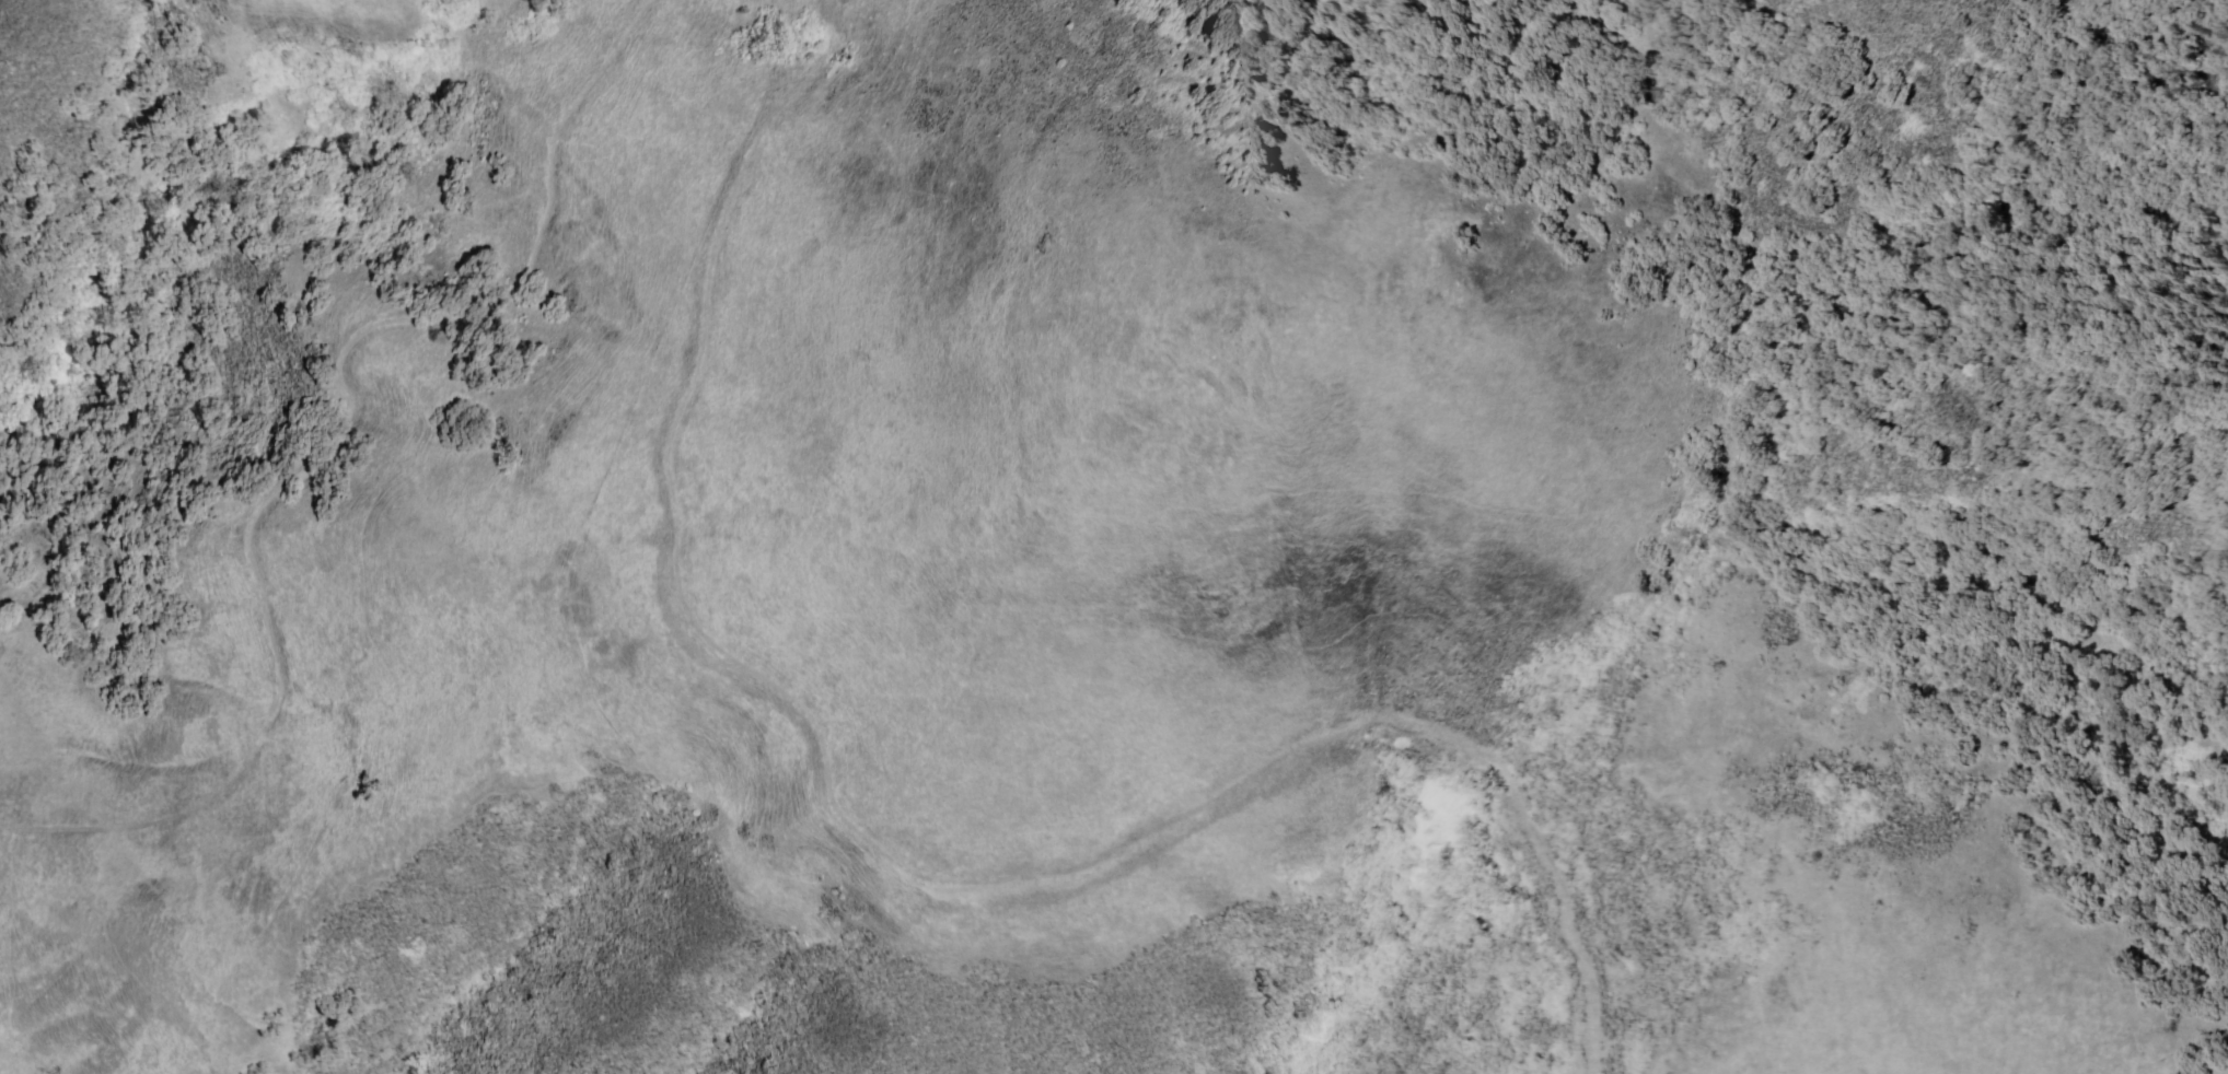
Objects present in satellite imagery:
road: (883, 864)

